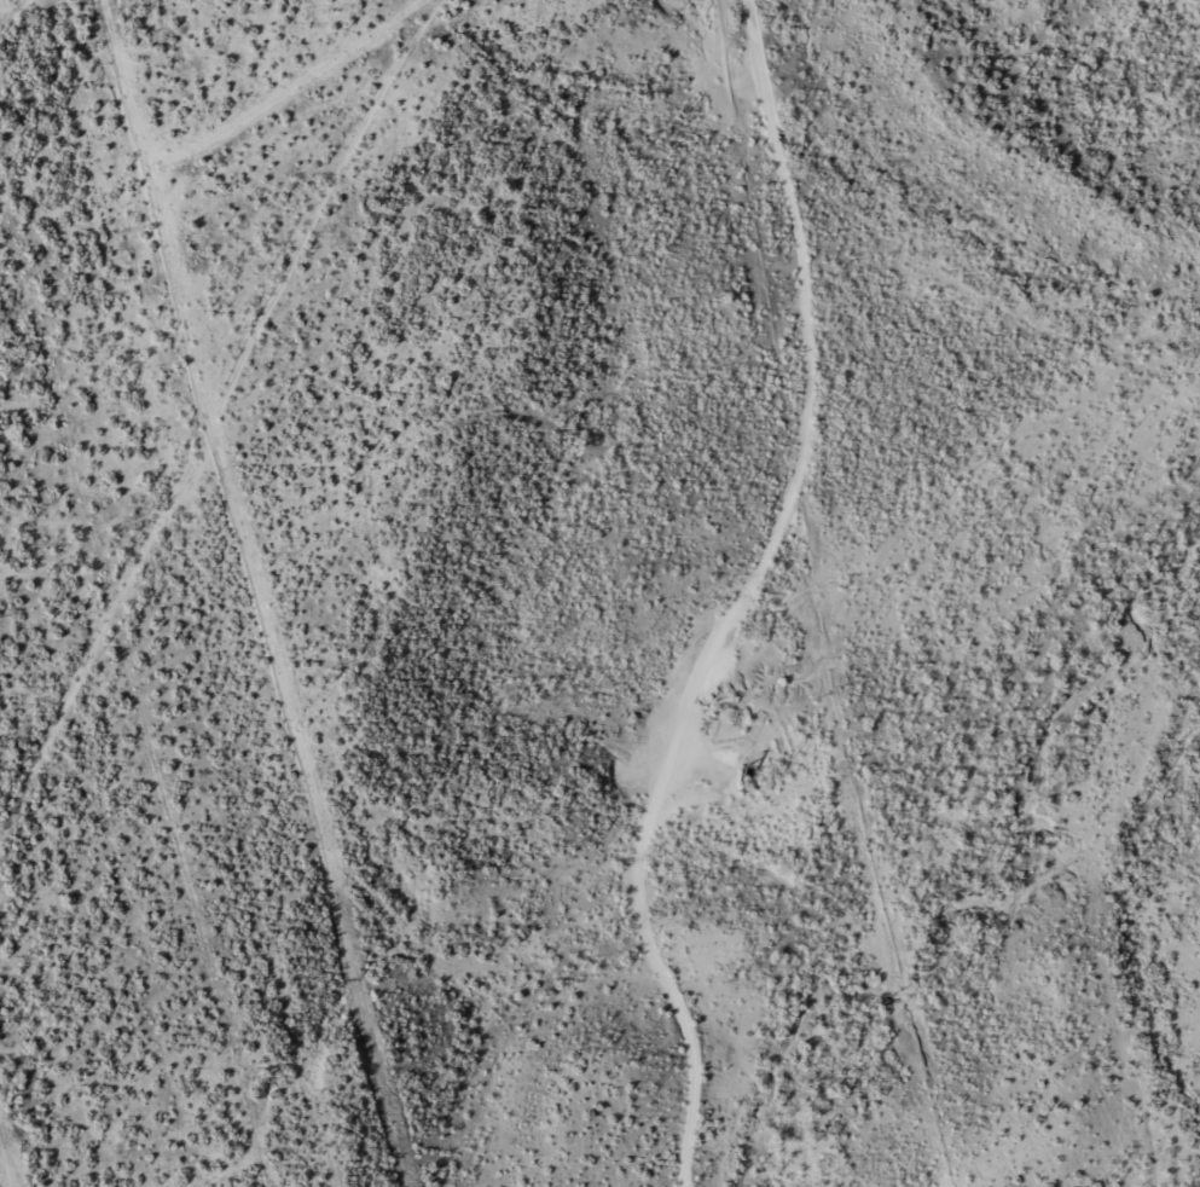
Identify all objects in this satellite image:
road: (208, 400)
road: (702, 988)

